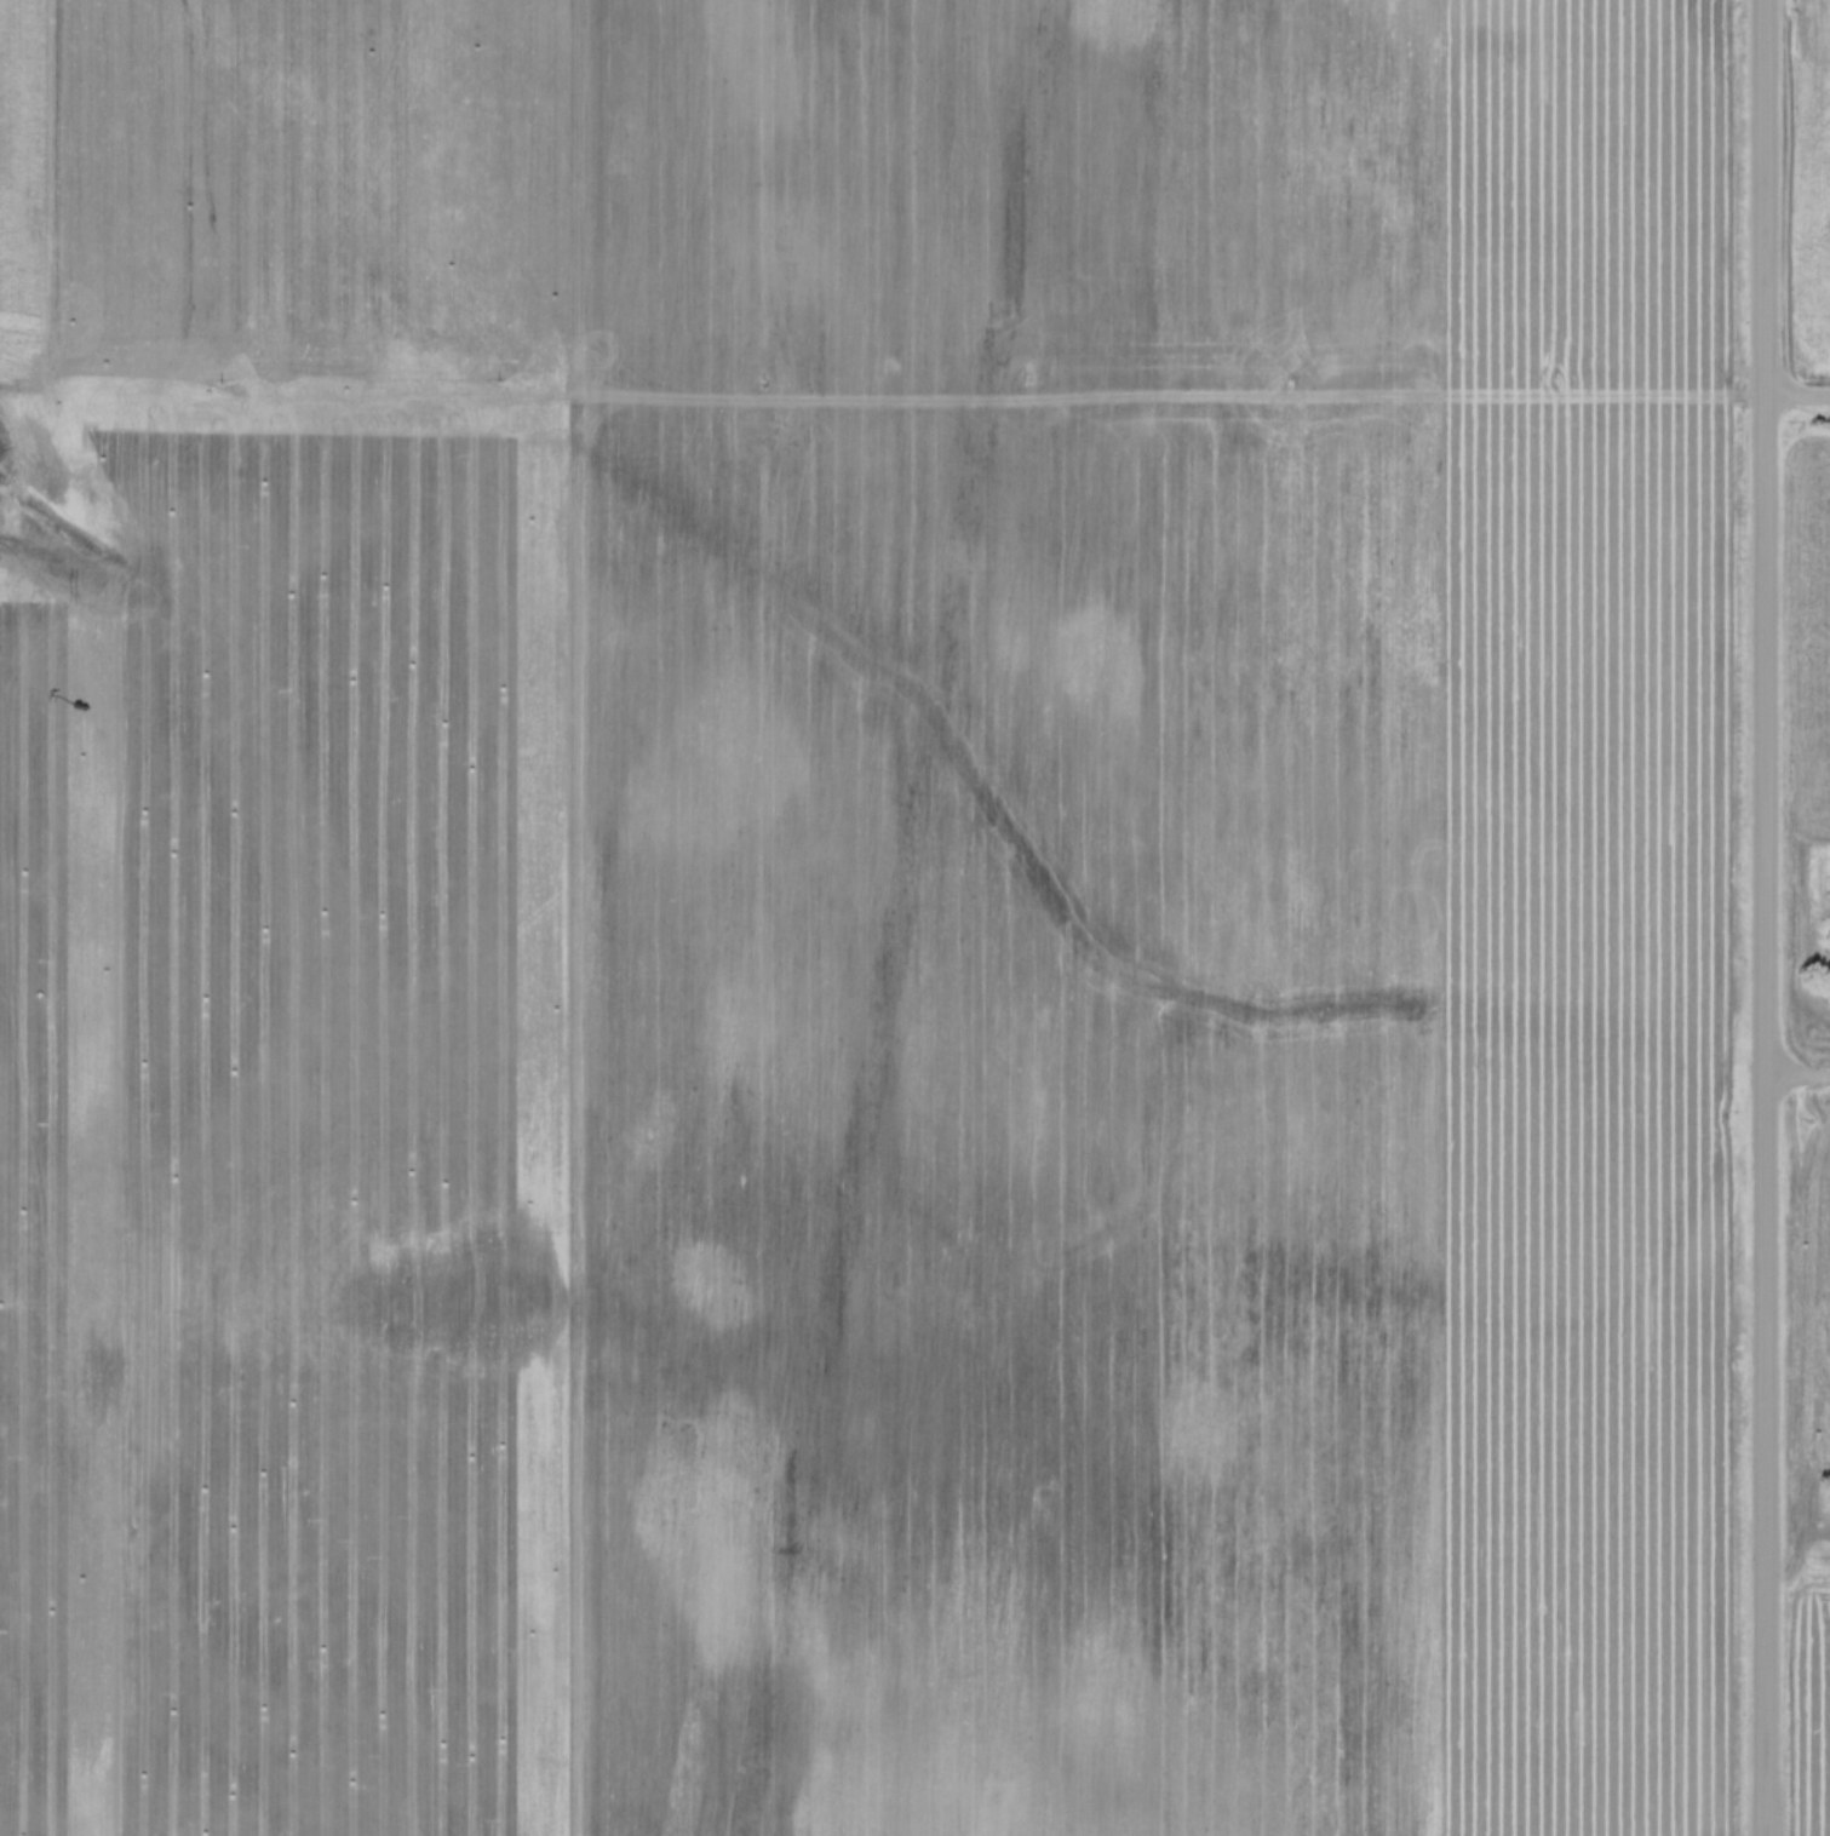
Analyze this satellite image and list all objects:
road: (1801, 392)
road: (1775, 917)
road: (1803, 1067)

